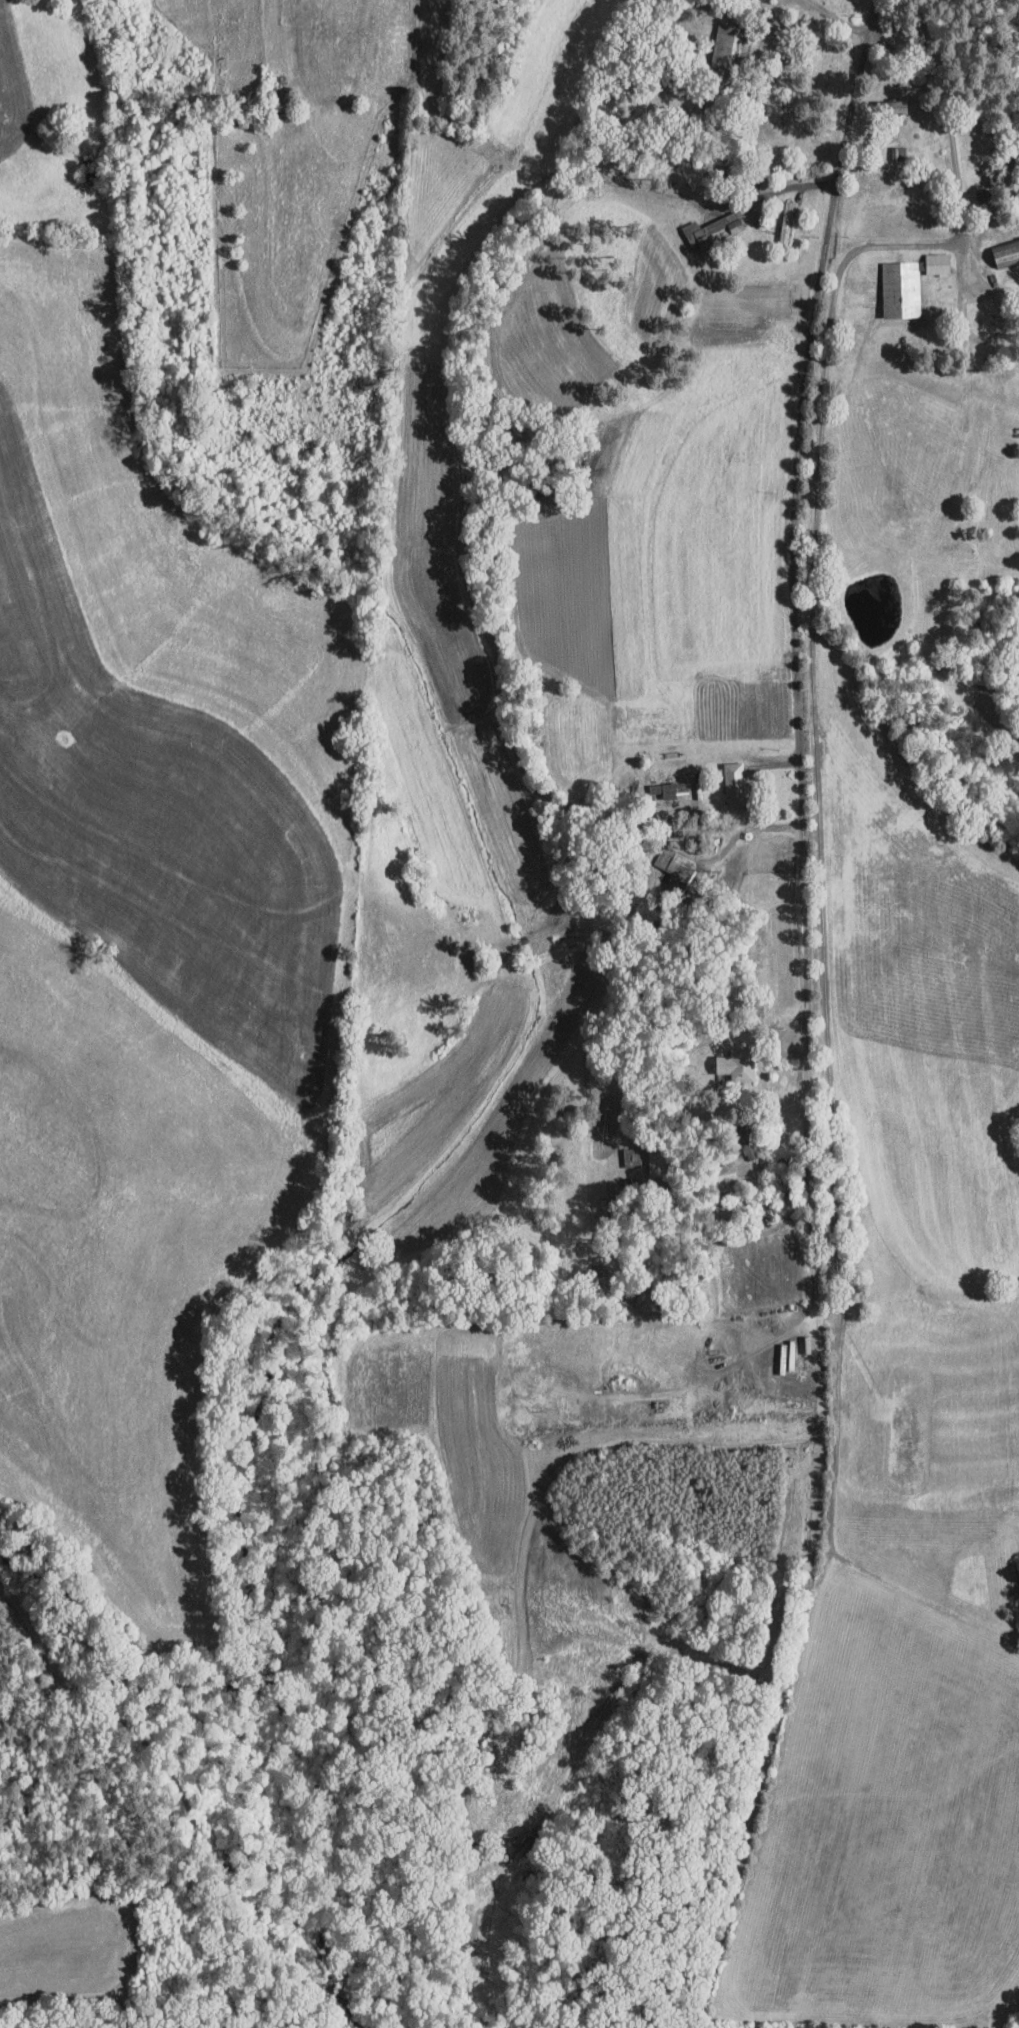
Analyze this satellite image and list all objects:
building: (726, 44)
building: (895, 109)
road: (952, 143)
building: (899, 152)
road: (787, 187)
building: (712, 230)
building: (1006, 253)
building: (909, 283)
road: (787, 725)
building: (735, 782)
building: (669, 788)
building: (676, 865)
building: (737, 1064)
building: (656, 1162)
building: (726, 1172)
road: (755, 1351)

